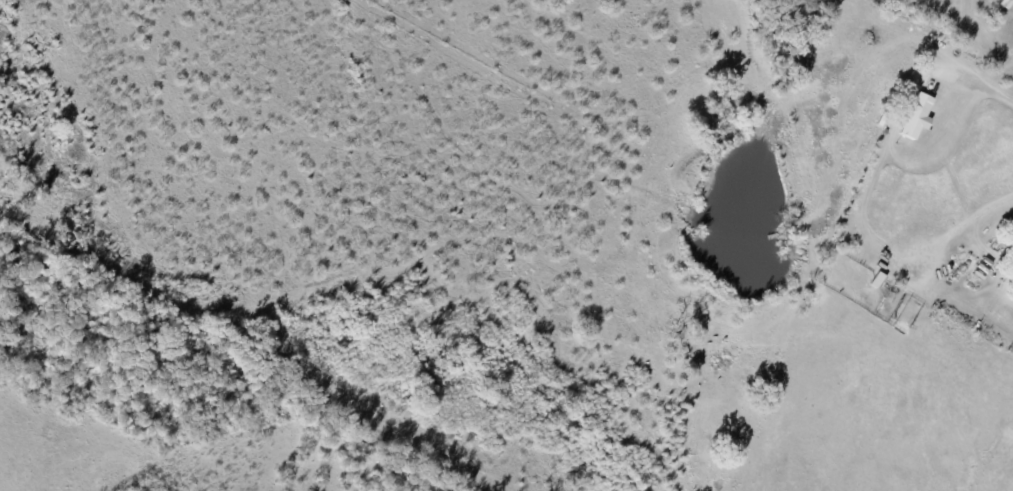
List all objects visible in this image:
building: (1002, 3)
road: (989, 86)
building: (914, 114)

